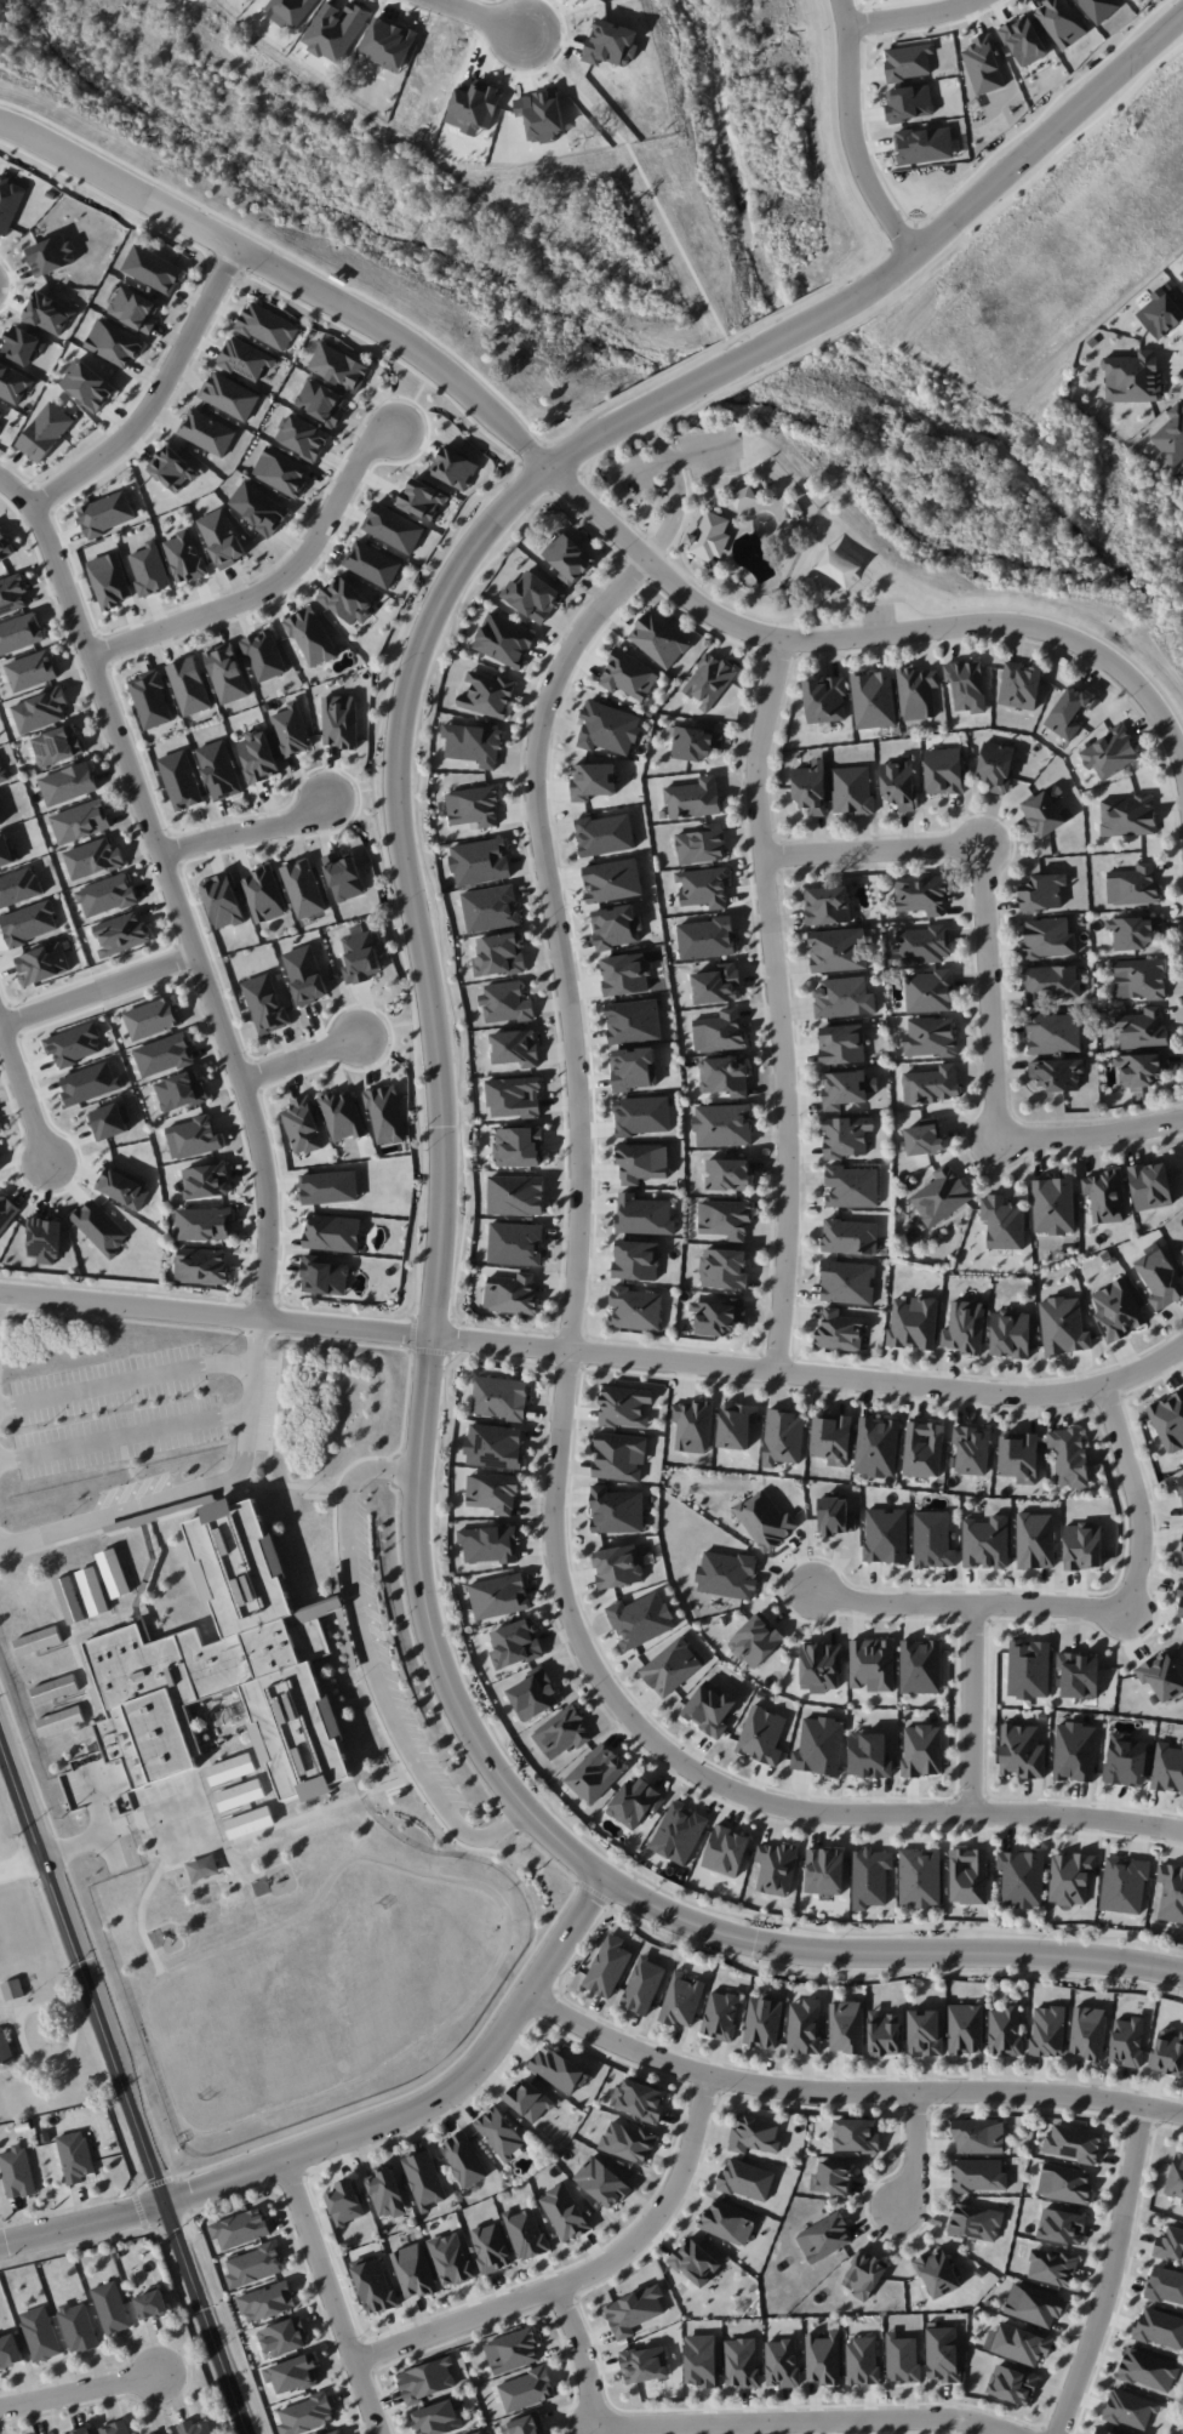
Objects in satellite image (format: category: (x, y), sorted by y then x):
building: (1099, 8)
road: (842, 12)
road: (486, 15)
road: (910, 17)
building: (1061, 22)
building: (1023, 40)
building: (908, 62)
building: (983, 64)
building: (909, 102)
building: (924, 144)
road: (852, 148)
building: (8, 200)
building: (51, 255)
building: (153, 269)
building: (1181, 272)
road: (697, 275)
building: (136, 309)
building: (1161, 313)
building: (267, 326)
building: (114, 342)
building: (22, 344)
building: (245, 359)
building: (339, 367)
building: (1133, 377)
building: (13, 383)
building: (88, 386)
road: (156, 392)
building: (230, 395)
building: (322, 401)
building: (1, 414)
building: (0, 424)
building: (45, 432)
building: (207, 432)
building: (1171, 435)
building: (303, 437)
road: (671, 458)
building: (455, 467)
building: (172, 469)
building: (281, 471)
road: (675, 485)
building: (744, 497)
building: (423, 498)
road: (583, 502)
building: (258, 507)
building: (105, 513)
building: (394, 528)
building: (709, 536)
building: (222, 537)
building: (5, 547)
building: (184, 557)
building: (568, 558)
building: (372, 564)
building: (149, 569)
building: (110, 580)
road: (275, 580)
building: (12, 594)
building: (532, 595)
building: (345, 602)
building: (21, 633)
building: (312, 637)
building: (659, 639)
building: (504, 640)
building: (264, 655)
building: (32, 671)
building: (227, 673)
building: (628, 676)
building: (709, 680)
building: (966, 684)
building: (189, 685)
building: (1019, 685)
building: (916, 692)
building: (487, 695)
building: (825, 699)
building: (152, 700)
building: (873, 700)
building: (40, 711)
building: (1069, 712)
building: (339, 720)
building: (608, 728)
building: (291, 730)
building: (696, 742)
building: (473, 743)
building: (57, 746)
building: (1109, 753)
building: (258, 756)
building: (996, 765)
building: (219, 770)
building: (944, 771)
building: (2, 773)
building: (181, 780)
building: (593, 780)
building: (68, 783)
building: (899, 783)
building: (810, 787)
building: (852, 790)
building: (693, 798)
building: (473, 806)
building: (0, 808)
building: (1046, 810)
building: (1127, 815)
building: (80, 821)
building: (0, 822)
road: (247, 828)
building: (605, 834)
building: (702, 844)
building: (6, 850)
building: (92, 857)
building: (480, 861)
building: (344, 876)
building: (612, 880)
road: (170, 884)
building: (1133, 885)
building: (704, 887)
building: (303, 888)
building: (1042, 891)
building: (263, 894)
building: (921, 894)
building: (107, 895)
building: (223, 901)
building: (828, 905)
building: (490, 908)
building: (29, 923)
building: (616, 927)
building: (1133, 931)
building: (121, 934)
road: (558, 937)
building: (707, 937)
building: (1047, 937)
building: (921, 945)
building: (838, 950)
building: (499, 954)
building: (360, 957)
building: (42, 963)
building: (305, 974)
building: (625, 974)
road: (987, 976)
building: (1138, 979)
road: (97, 980)
building: (1052, 982)
building: (716, 984)
building: (928, 991)
building: (844, 997)
road: (778, 1002)
building: (265, 1003)
building: (505, 1003)
building: (153, 1018)
building: (634, 1020)
building: (1142, 1028)
building: (719, 1032)
building: (1053, 1033)
building: (930, 1037)
building: (74, 1044)
building: (841, 1044)
building: (515, 1047)
building: (164, 1054)
road: (299, 1056)
building: (634, 1068)
building: (1142, 1068)
building: (1057, 1073)
building: (724, 1077)
road: (23, 1083)
building: (90, 1083)
road: (438, 1084)
building: (932, 1084)
building: (844, 1089)
building: (179, 1090)
building: (514, 1098)
building: (342, 1115)
building: (385, 1115)
building: (642, 1115)
building: (109, 1122)
building: (722, 1124)
building: (303, 1125)
building: (0, 1133)
building: (846, 1135)
building: (925, 1136)
building: (193, 1138)
building: (519, 1146)
building: (641, 1162)
building: (727, 1174)
building: (206, 1180)
building: (1150, 1185)
building: (852, 1186)
building: (330, 1187)
building: (515, 1195)
building: (941, 1195)
building: (1105, 1196)
building: (1053, 1204)
building: (6, 1212)
building: (644, 1215)
building: (725, 1218)
building: (1002, 1222)
building: (204, 1224)
building: (101, 1227)
building: (332, 1232)
building: (850, 1236)
building: (45, 1238)
building: (515, 1243)
building: (1181, 1248)
building: (636, 1260)
building: (201, 1265)
building: (724, 1269)
building: (324, 1276)
building: (1160, 1278)
building: (847, 1282)
building: (512, 1293)
building: (635, 1309)
building: (1116, 1310)
road: (216, 1312)
building: (719, 1316)
building: (914, 1322)
building: (1063, 1326)
building: (965, 1327)
building: (840, 1329)
building: (1011, 1333)
road: (255, 1341)
road: (812, 1375)
road: (125, 1379)
road: (250, 1391)
building: (501, 1397)
building: (624, 1406)
building: (1168, 1420)
building: (692, 1425)
building: (736, 1425)
road: (124, 1436)
building: (783, 1437)
building: (831, 1438)
building: (495, 1446)
building: (876, 1447)
building: (924, 1449)
building: (972, 1449)
road: (245, 1450)
building: (1069, 1455)
building: (619, 1457)
building: (1019, 1457)
building: (1181, 1487)
building: (492, 1492)
building: (616, 1510)
road: (114, 1515)
building: (835, 1515)
building: (765, 1520)
building: (886, 1535)
building: (933, 1539)
building: (1035, 1540)
building: (987, 1543)
building: (488, 1544)
building: (1082, 1545)
building: (1182, 1556)
building: (617, 1566)
building: (114, 1573)
building: (727, 1574)
building: (93, 1591)
building: (498, 1596)
building: (69, 1600)
road: (1075, 1603)
building: (1179, 1604)
building: (641, 1619)
building: (38, 1640)
building: (756, 1640)
building: (515, 1643)
road: (375, 1664)
building: (871, 1664)
building: (819, 1666)
building: (920, 1666)
building: (228, 1668)
building: (671, 1668)
building: (1029, 1669)
building: (1079, 1675)
building: (1161, 1675)
building: (55, 1688)
building: (535, 1694)
road: (972, 1705)
building: (710, 1708)
building: (61, 1721)
building: (562, 1732)
building: (761, 1734)
building: (819, 1746)
building: (921, 1750)
building: (1022, 1751)
building: (1074, 1751)
building: (869, 1755)
building: (1125, 1760)
building: (1167, 1768)
building: (596, 1773)
road: (708, 1773)
building: (635, 1802)
building: (679, 1832)
building: (726, 1851)
road: (21, 1866)
building: (204, 1868)
building: (776, 1868)
building: (824, 1870)
building: (968, 1875)
building: (870, 1877)
building: (920, 1877)
building: (1022, 1877)
building: (1070, 1877)
building: (1124, 1885)
building: (1171, 1892)
building: (608, 1966)
building: (644, 1985)
building: (12, 1989)
building: (682, 2000)
building: (720, 2014)
building: (764, 2022)
building: (805, 2025)
building: (846, 2027)
building: (965, 2028)
building: (1005, 2030)
building: (1047, 2030)
building: (925, 2031)
building: (1087, 2031)
building: (885, 2033)
building: (1127, 2041)
road: (23, 2045)
building: (5, 2048)
building: (1167, 2052)
building: (558, 2069)
road: (122, 2087)
road: (847, 2091)
building: (641, 2099)
building: (530, 2100)
building: (499, 2133)
building: (754, 2134)
building: (857, 2134)
building: (978, 2136)
road: (354, 2137)
building: (628, 2142)
building: (1073, 2143)
road: (915, 2151)
building: (75, 2156)
building: (464, 2159)
building: (17, 2171)
building: (977, 2174)
building: (1176, 2177)
building: (833, 2178)
building: (424, 2179)
building: (747, 2179)
building: (602, 2182)
building: (1065, 2183)
building: (387, 2193)
building: (345, 2202)
building: (565, 2212)
building: (728, 2222)
building: (976, 2222)
building: (1062, 2225)
building: (240, 2228)
building: (526, 2233)
building: (824, 2238)
building: (1170, 2244)
building: (491, 2247)
building: (451, 2259)
building: (695, 2262)
building: (253, 2265)
building: (1052, 2267)
road: (1127, 2268)
building: (413, 2270)
building: (937, 2273)
building: (864, 2274)
road: (1110, 2274)
road: (584, 2276)
building: (375, 2284)
building: (1165, 2285)
road: (330, 2298)
building: (267, 2301)
building: (152, 2304)
building: (1034, 2304)
building: (110, 2307)
building: (634, 2310)
building: (78, 2327)
building: (1160, 2327)
building: (40, 2333)
building: (284, 2337)
building: (1021, 2343)
building: (10, 2350)
building: (513, 2350)
building: (942, 2354)
building: (823, 2358)
building: (902, 2358)
building: (701, 2360)
building: (862, 2360)
building: (741, 2361)
building: (782, 2362)
building: (644, 2364)
building: (1148, 2370)
building: (293, 2373)
building: (427, 2379)
building: (1012, 2384)
building: (526, 2389)
road: (79, 2392)
building: (1130, 2409)
building: (307, 2415)
building: (439, 2418)
road: (737, 2419)
building: (525, 2424)
building: (195, 2427)
building: (115, 2428)
building: (80, 2430)
building: (166, 2432)
building: (335, 2432)
building: (1103, 2432)
building: (1182, 2432)
building: (479, 2433)

